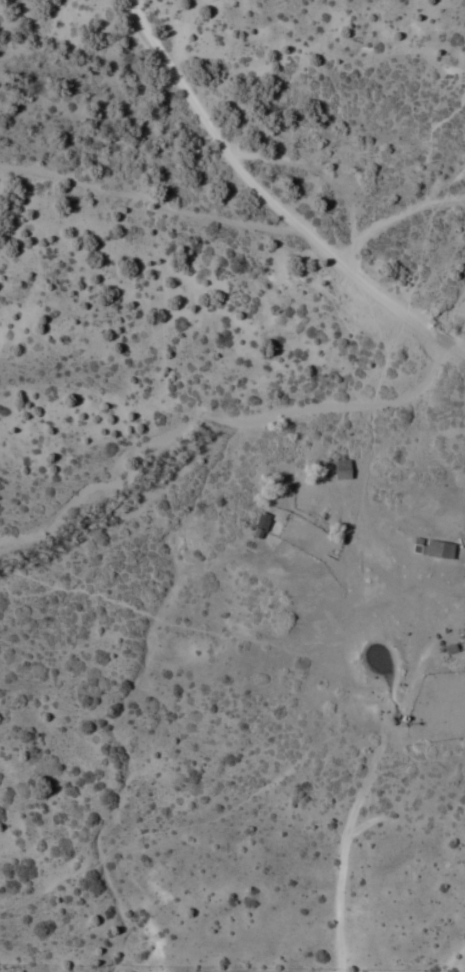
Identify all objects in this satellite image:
road: (273, 201)
building: (342, 470)
building: (260, 527)
building: (433, 549)
road: (373, 758)

